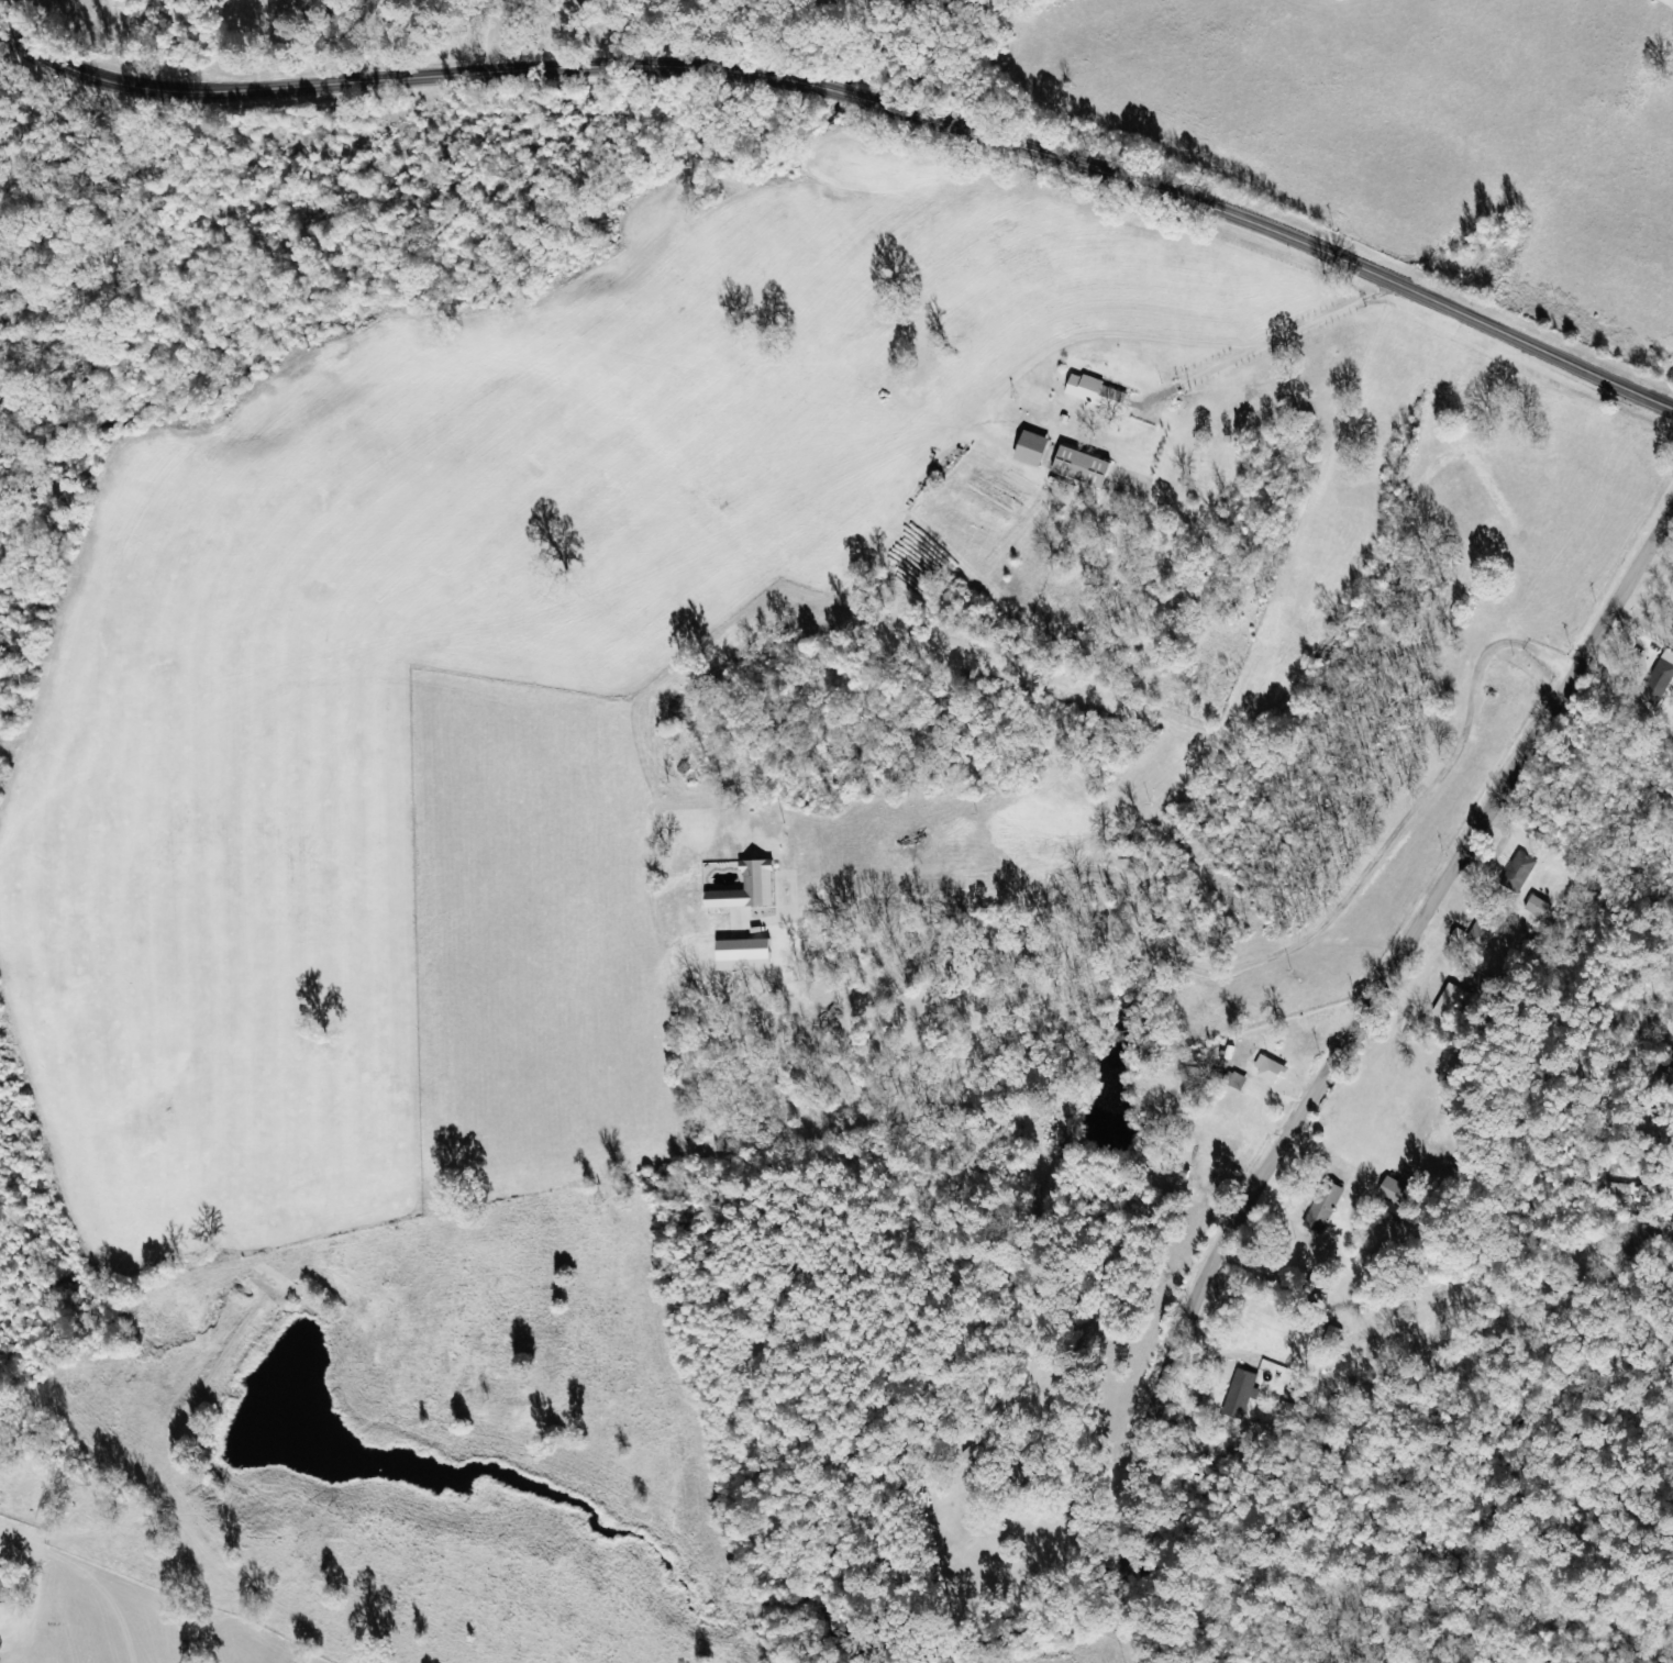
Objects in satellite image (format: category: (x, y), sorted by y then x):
road: (705, 31)
road: (492, 34)
road: (858, 97)
road: (1262, 332)
building: (1099, 395)
building: (1035, 448)
building: (1085, 466)
building: (1661, 681)
building: (1524, 867)
building: (751, 888)
building: (1540, 907)
building: (1481, 932)
building: (1453, 1004)
road: (1333, 1064)
building: (1271, 1068)
building: (1397, 1191)
building: (1325, 1207)
building: (1243, 1394)
building: (3, 1582)
road: (350, 1590)

